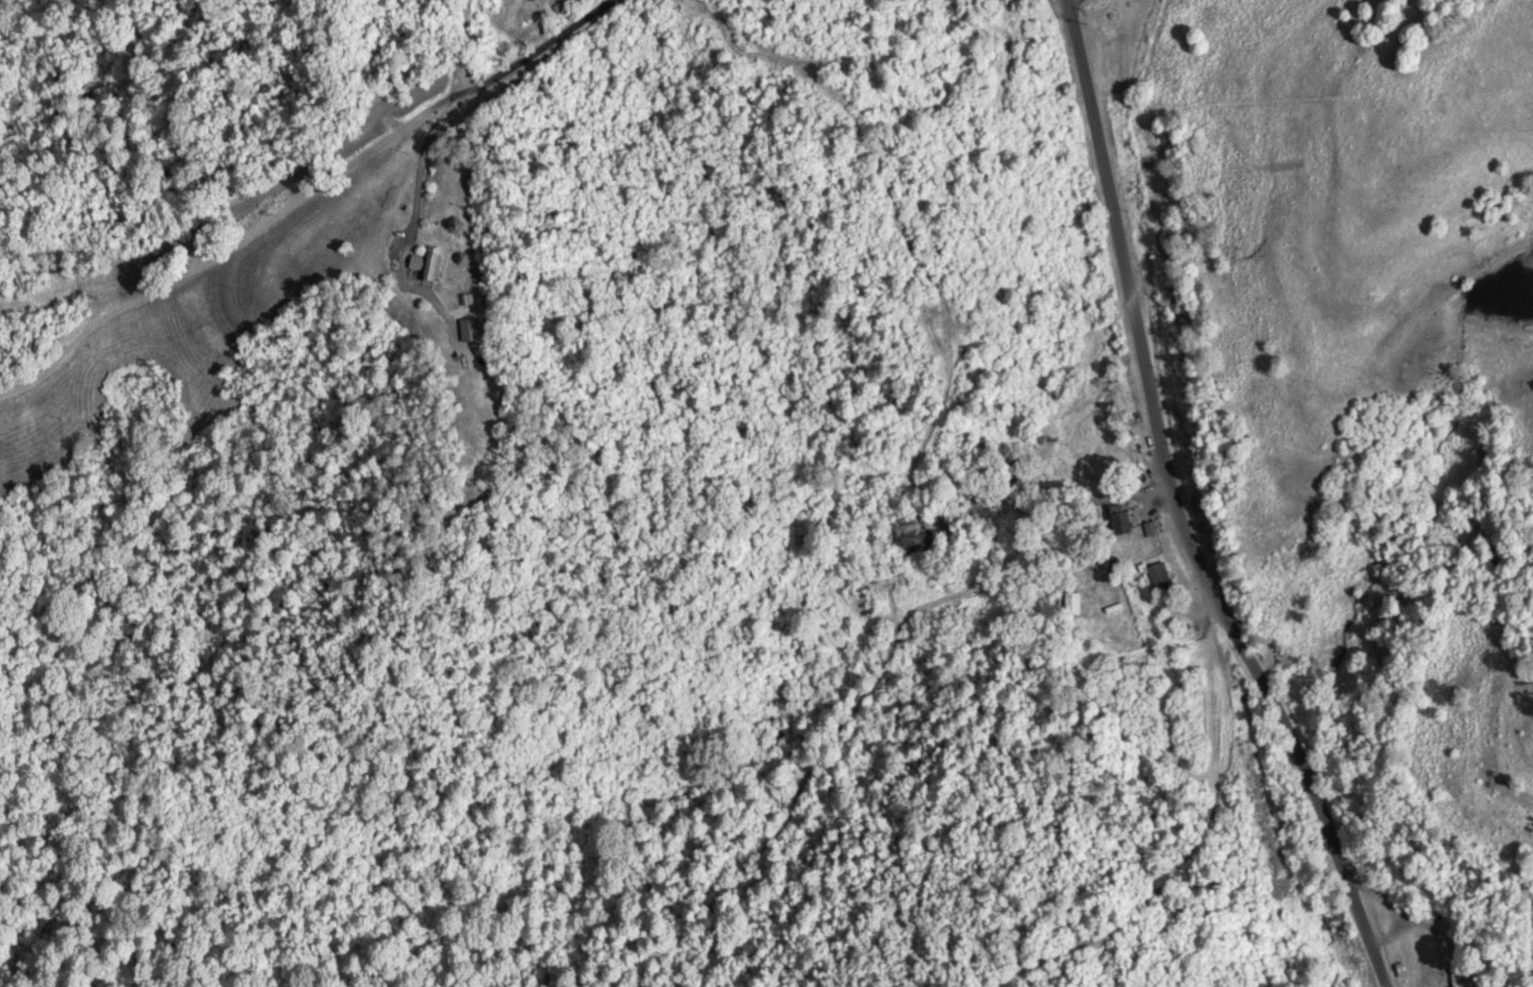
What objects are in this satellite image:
building: (550, 8)
road: (513, 63)
building: (423, 263)
road: (1181, 508)
building: (1113, 518)
building: (1147, 527)
building: (910, 535)
building: (1155, 577)
building: (1070, 602)

